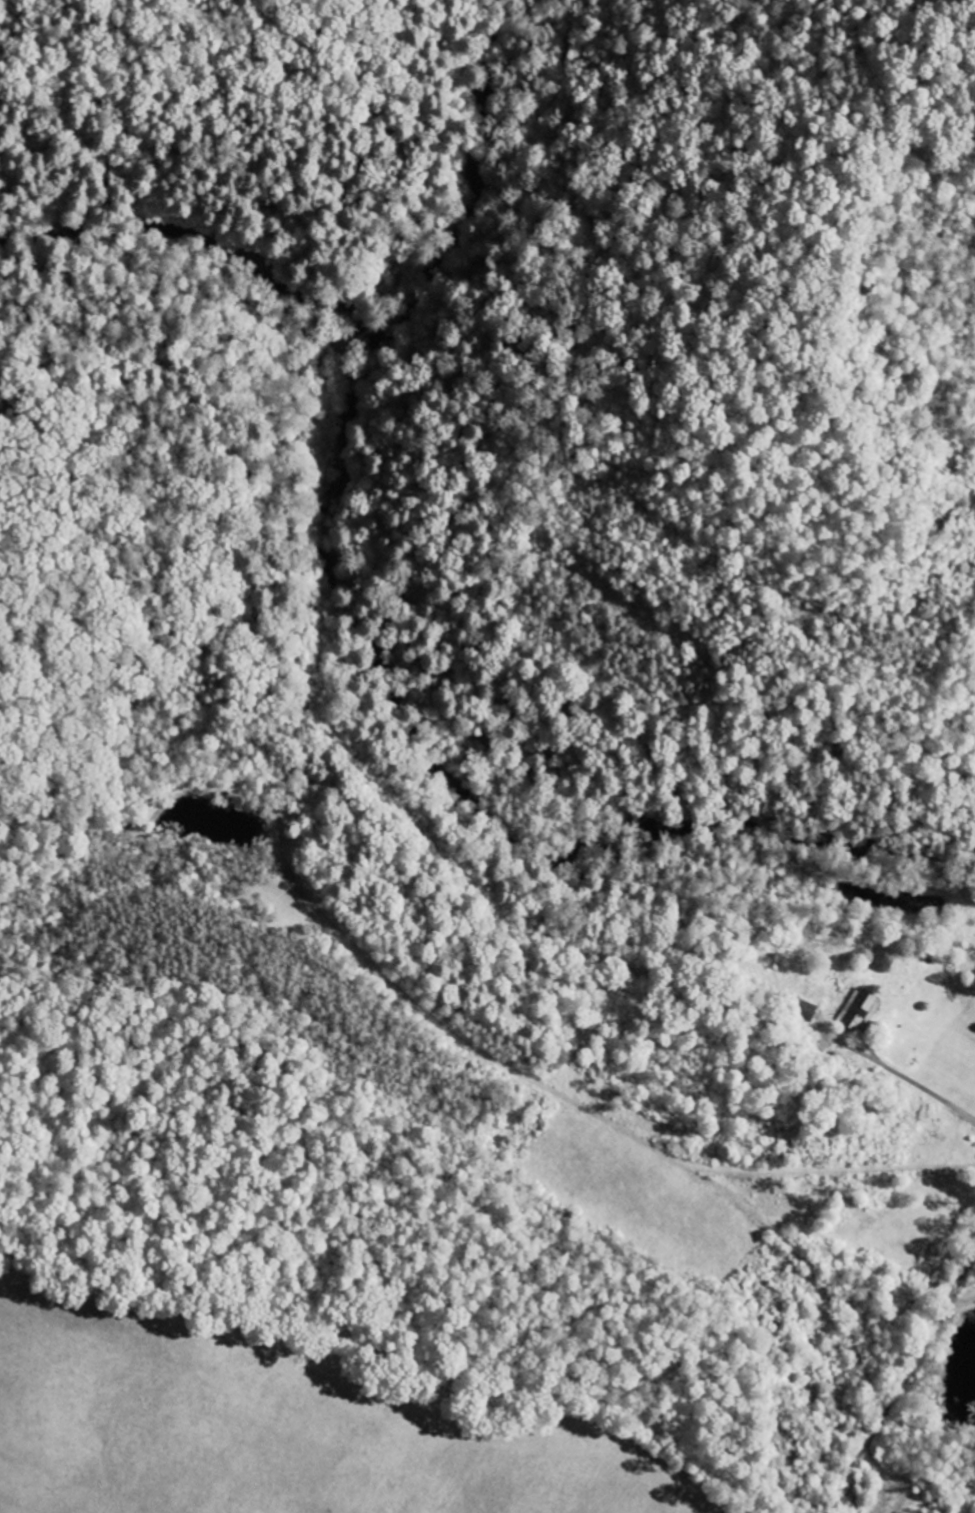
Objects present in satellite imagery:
road: (504, 66)
road: (346, 226)
park: (522, 251)
building: (861, 1011)

